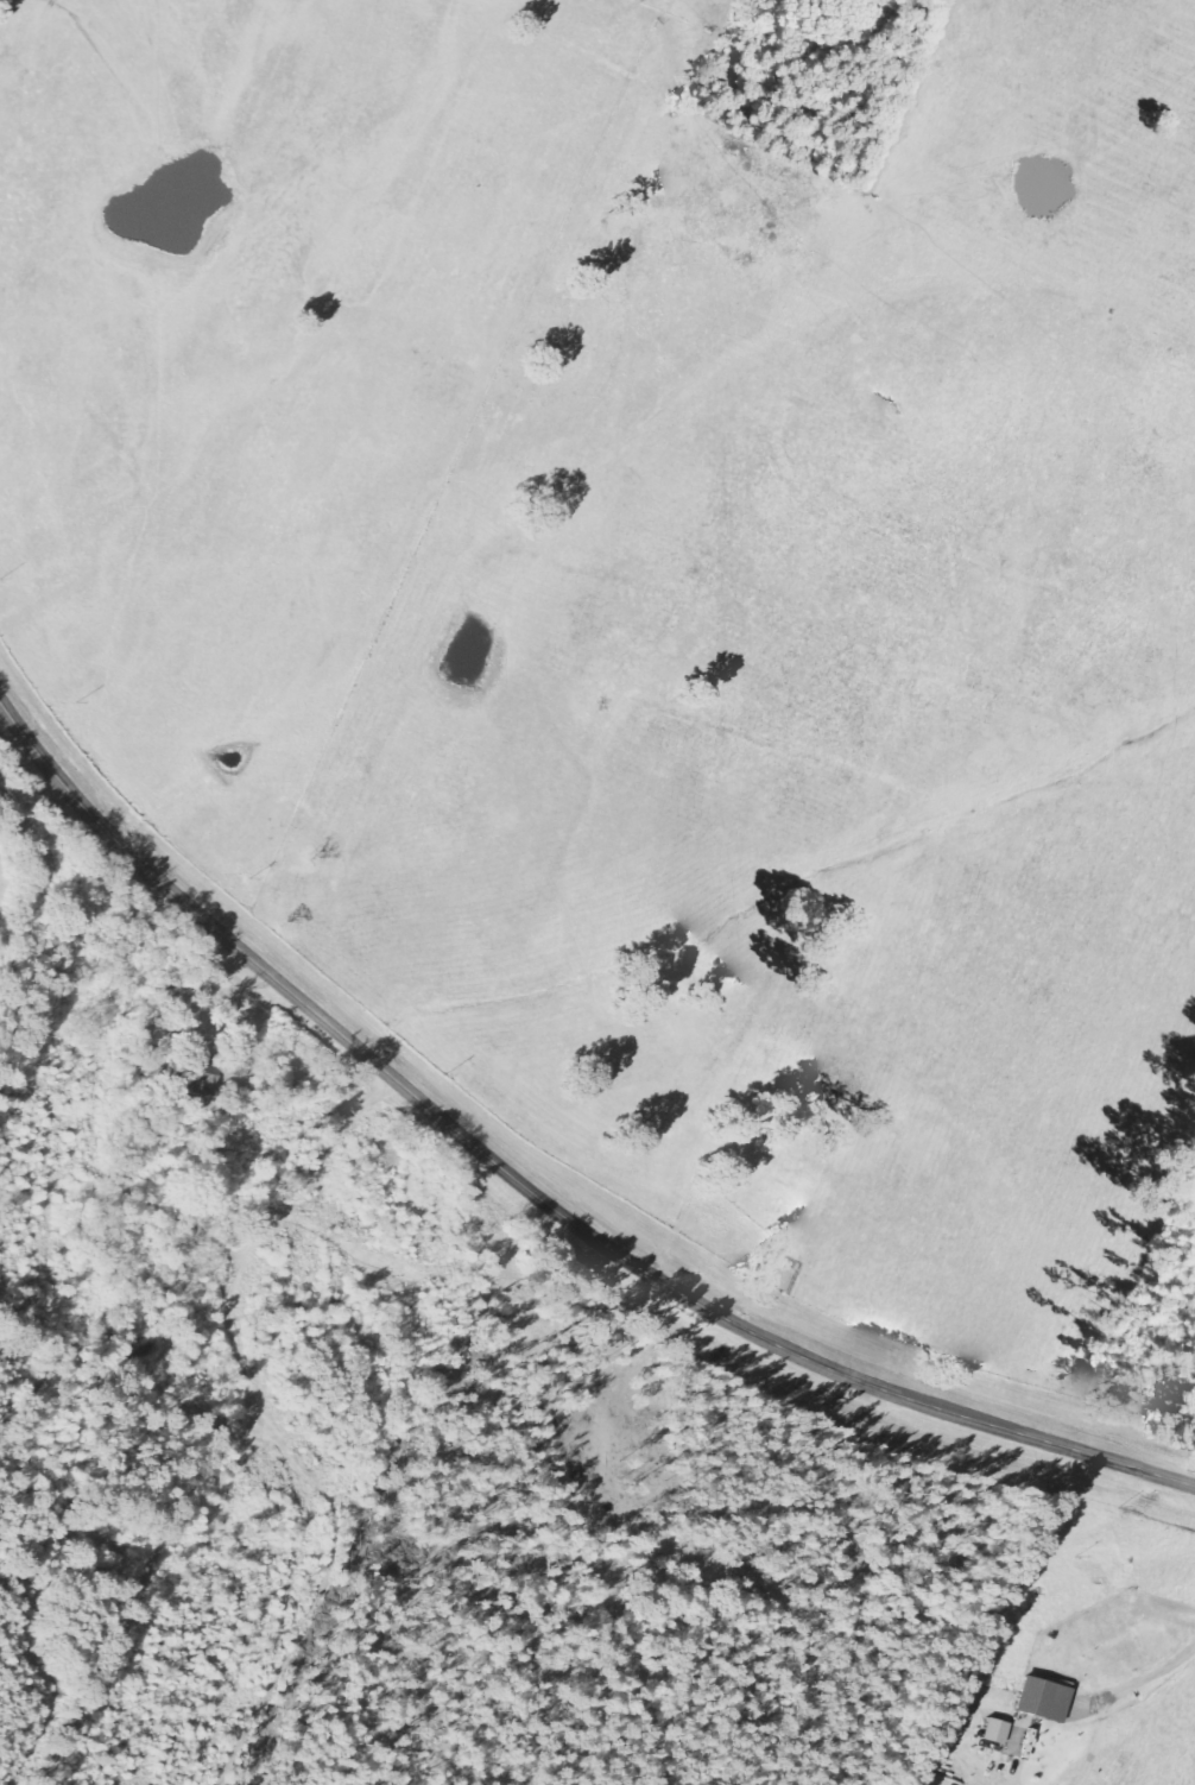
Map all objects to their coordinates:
building: (208, 1084)
road: (532, 1192)
building: (1049, 1699)
building: (1001, 1732)

